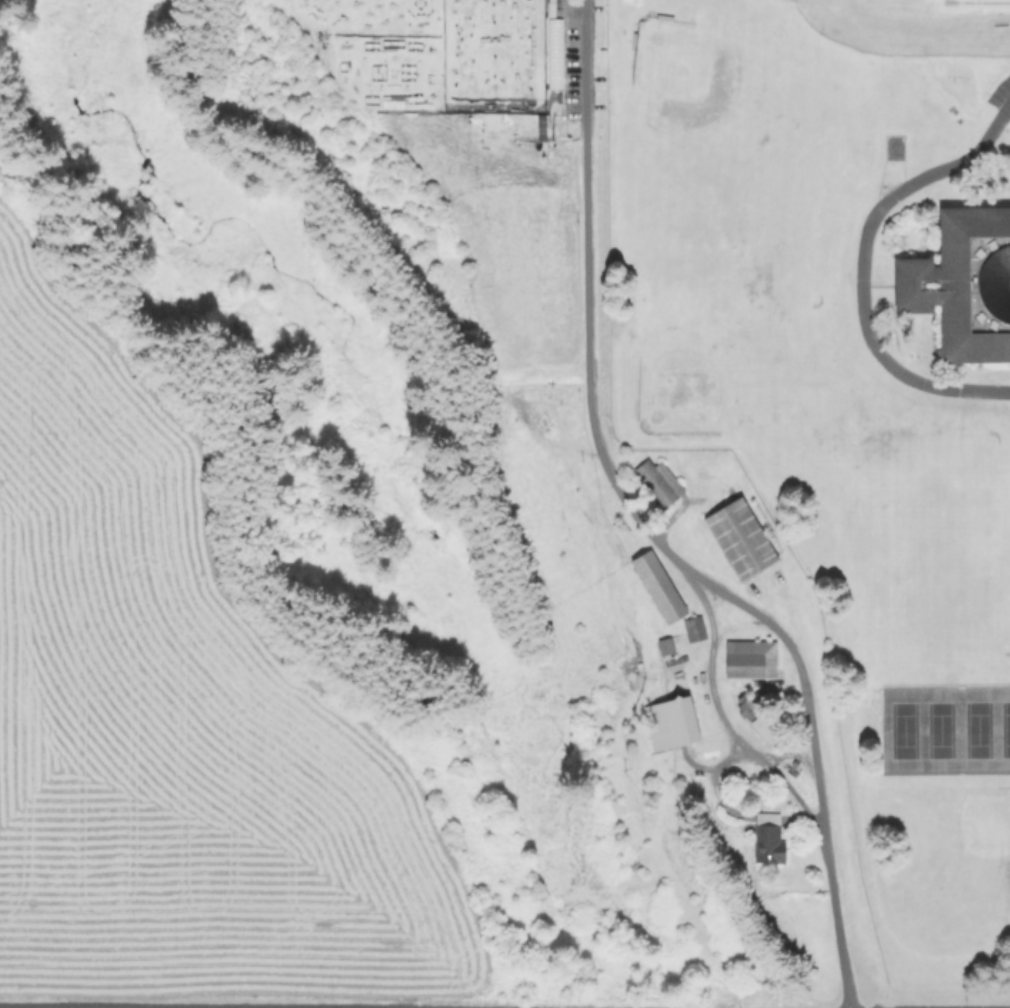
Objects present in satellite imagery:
building: (553, 54)
parking lot: (1001, 94)
park: (738, 130)
road: (861, 265)
building: (963, 283)
park: (724, 355)
building: (657, 483)
road: (649, 533)
building: (741, 540)
park: (920, 556)
building: (661, 586)
building: (694, 627)
building: (666, 647)
building: (752, 661)
road: (718, 700)
building: (762, 720)
building: (673, 724)
park: (977, 729)
park: (1005, 729)
park: (903, 730)
park: (939, 730)
road: (720, 770)
road: (793, 787)
road: (723, 800)
building: (761, 842)
park: (954, 848)
building: (634, 865)

